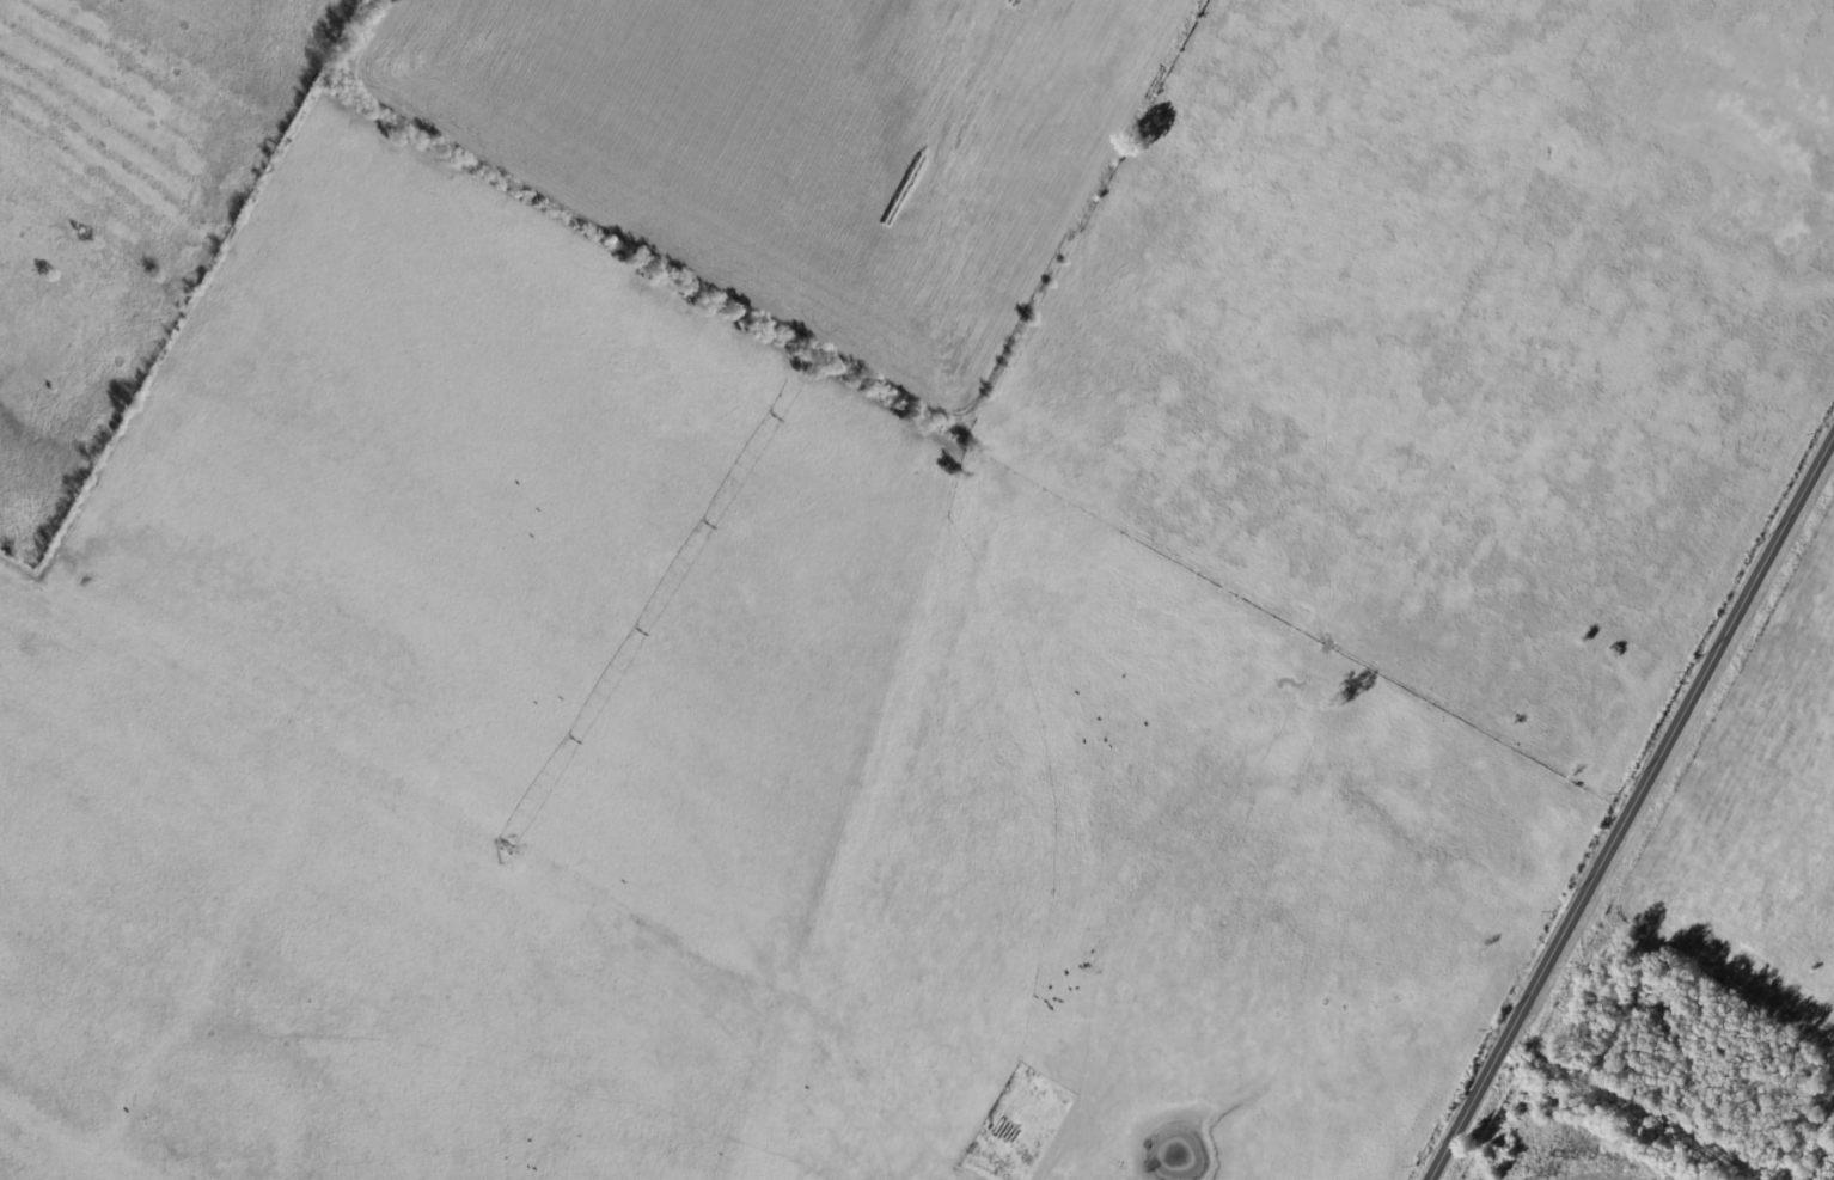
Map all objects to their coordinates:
road: (1630, 805)
quarry: (1561, 1132)

